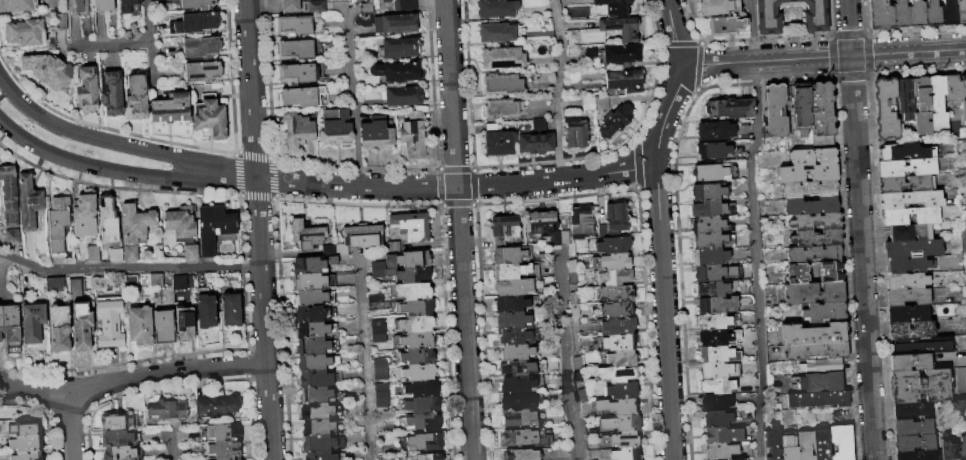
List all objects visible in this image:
building: (386, 0)
building: (103, 4)
building: (197, 4)
building: (17, 5)
building: (127, 6)
building: (291, 6)
building: (314, 6)
building: (406, 6)
building: (718, 6)
building: (78, 7)
building: (367, 7)
building: (615, 7)
building: (497, 8)
building: (961, 11)
building: (949, 12)
building: (916, 13)
building: (900, 14)
building: (932, 14)
building: (879, 15)
building: (815, 17)
building: (60, 21)
building: (396, 23)
building: (195, 24)
building: (295, 24)
building: (727, 26)
building: (621, 28)
building: (25, 32)
building: (498, 32)
road: (674, 32)
road: (148, 42)
road: (107, 44)
building: (401, 47)
building: (201, 48)
building: (301, 49)
building: (591, 53)
building: (622, 54)
road: (822, 56)
building: (503, 58)
building: (48, 70)
building: (398, 71)
building: (203, 72)
building: (297, 73)
building: (625, 81)
building: (503, 84)
building: (87, 88)
road: (251, 88)
road: (556, 89)
building: (953, 89)
building: (111, 93)
road: (451, 93)
road: (353, 95)
building: (299, 96)
building: (403, 96)
building: (963, 96)
building: (137, 97)
building: (905, 99)
building: (601, 103)
building: (937, 103)
building: (588, 104)
building: (921, 106)
building: (502, 107)
building: (800, 107)
building: (171, 108)
building: (730, 108)
building: (885, 109)
building: (775, 111)
road: (665, 114)
building: (822, 115)
building: (210, 116)
building: (615, 122)
building: (539, 125)
building: (336, 126)
building: (298, 130)
building: (715, 131)
building: (575, 132)
building: (377, 134)
building: (414, 134)
building: (533, 139)
building: (499, 141)
road: (119, 144)
building: (713, 150)
building: (903, 151)
building: (813, 156)
building: (907, 167)
road: (122, 171)
building: (710, 172)
building: (808, 173)
road: (556, 179)
road: (356, 184)
building: (906, 184)
building: (810, 189)
building: (708, 192)
building: (9, 196)
building: (911, 199)
building: (28, 202)
building: (811, 206)
building: (711, 208)
building: (84, 216)
building: (616, 218)
building: (894, 218)
building: (107, 219)
building: (816, 221)
building: (136, 223)
building: (581, 223)
building: (542, 224)
building: (708, 224)
building: (58, 225)
building: (412, 226)
building: (214, 228)
building: (503, 229)
road: (753, 229)
road: (860, 229)
building: (183, 230)
building: (909, 232)
building: (307, 234)
building: (362, 234)
building: (964, 235)
building: (11, 236)
building: (560, 238)
building: (817, 238)
building: (708, 241)
building: (613, 245)
building: (956, 246)
building: (913, 248)
building: (335, 250)
building: (93, 253)
building: (131, 254)
building: (813, 254)
building: (115, 255)
building: (509, 255)
building: (406, 257)
building: (710, 257)
building: (612, 262)
building: (313, 264)
building: (908, 265)
road: (129, 267)
building: (515, 271)
building: (830, 271)
building: (401, 273)
building: (572, 273)
building: (716, 273)
building: (797, 273)
building: (612, 277)
building: (155, 280)
building: (130, 282)
building: (310, 282)
building: (906, 282)
building: (53, 283)
building: (179, 283)
building: (75, 285)
building: (518, 287)
building: (712, 288)
building: (414, 291)
building: (815, 292)
building: (616, 294)
building: (965, 294)
building: (313, 297)
building: (908, 297)
building: (377, 302)
building: (511, 303)
building: (574, 304)
building: (714, 305)
building: (415, 307)
building: (205, 308)
building: (617, 310)
building: (230, 311)
road: (664, 312)
building: (825, 312)
building: (311, 314)
building: (907, 314)
road: (264, 318)
building: (513, 320)
building: (32, 321)
building: (714, 321)
building: (109, 323)
building: (415, 323)
road: (464, 323)
building: (10, 324)
building: (185, 324)
building: (140, 326)
building: (618, 326)
building: (82, 327)
building: (163, 327)
building: (0, 329)
building: (59, 329)
building: (312, 330)
building: (912, 330)
building: (379, 333)
building: (813, 334)
building: (515, 336)
building: (715, 337)
building: (414, 340)
building: (616, 343)
building: (923, 345)
building: (312, 346)
building: (816, 351)
building: (516, 352)
road: (566, 354)
building: (716, 354)
building: (417, 356)
road: (366, 357)
building: (622, 358)
building: (317, 362)
building: (909, 362)
building: (822, 366)
building: (521, 368)
building: (381, 369)
building: (578, 369)
building: (719, 370)
building: (416, 372)
building: (617, 374)
road: (133, 378)
building: (315, 378)
building: (821, 382)
building: (961, 383)
building: (517, 384)
building: (718, 386)
building: (919, 386)
building: (421, 388)
building: (622, 391)
building: (316, 394)
building: (582, 396)
building: (382, 397)
building: (818, 399)
building: (517, 401)
building: (715, 403)
building: (423, 404)
building: (217, 406)
building: (617, 407)
building: (167, 408)
building: (316, 411)
building: (911, 411)
building: (517, 417)
building: (717, 419)
building: (117, 421)
building: (420, 421)
building: (623, 423)
road: (69, 424)
building: (21, 427)
building: (321, 427)
building: (913, 428)
building: (223, 432)
building: (722, 435)
building: (525, 437)
building: (116, 438)
building: (623, 439)
building: (425, 441)
building: (773, 442)
building: (842, 442)
building: (26, 443)
building: (322, 443)
building: (913, 443)
road: (171, 444)
building: (822, 444)
building: (805, 445)
building: (948, 447)
building: (225, 448)
building: (789, 448)
building: (962, 448)
building: (720, 451)
building: (118, 453)
building: (521, 454)
building: (626, 454)
building: (919, 455)
building: (27, 456)
building: (324, 456)
building: (424, 456)
building: (228, 458)
building: (732, 459)

